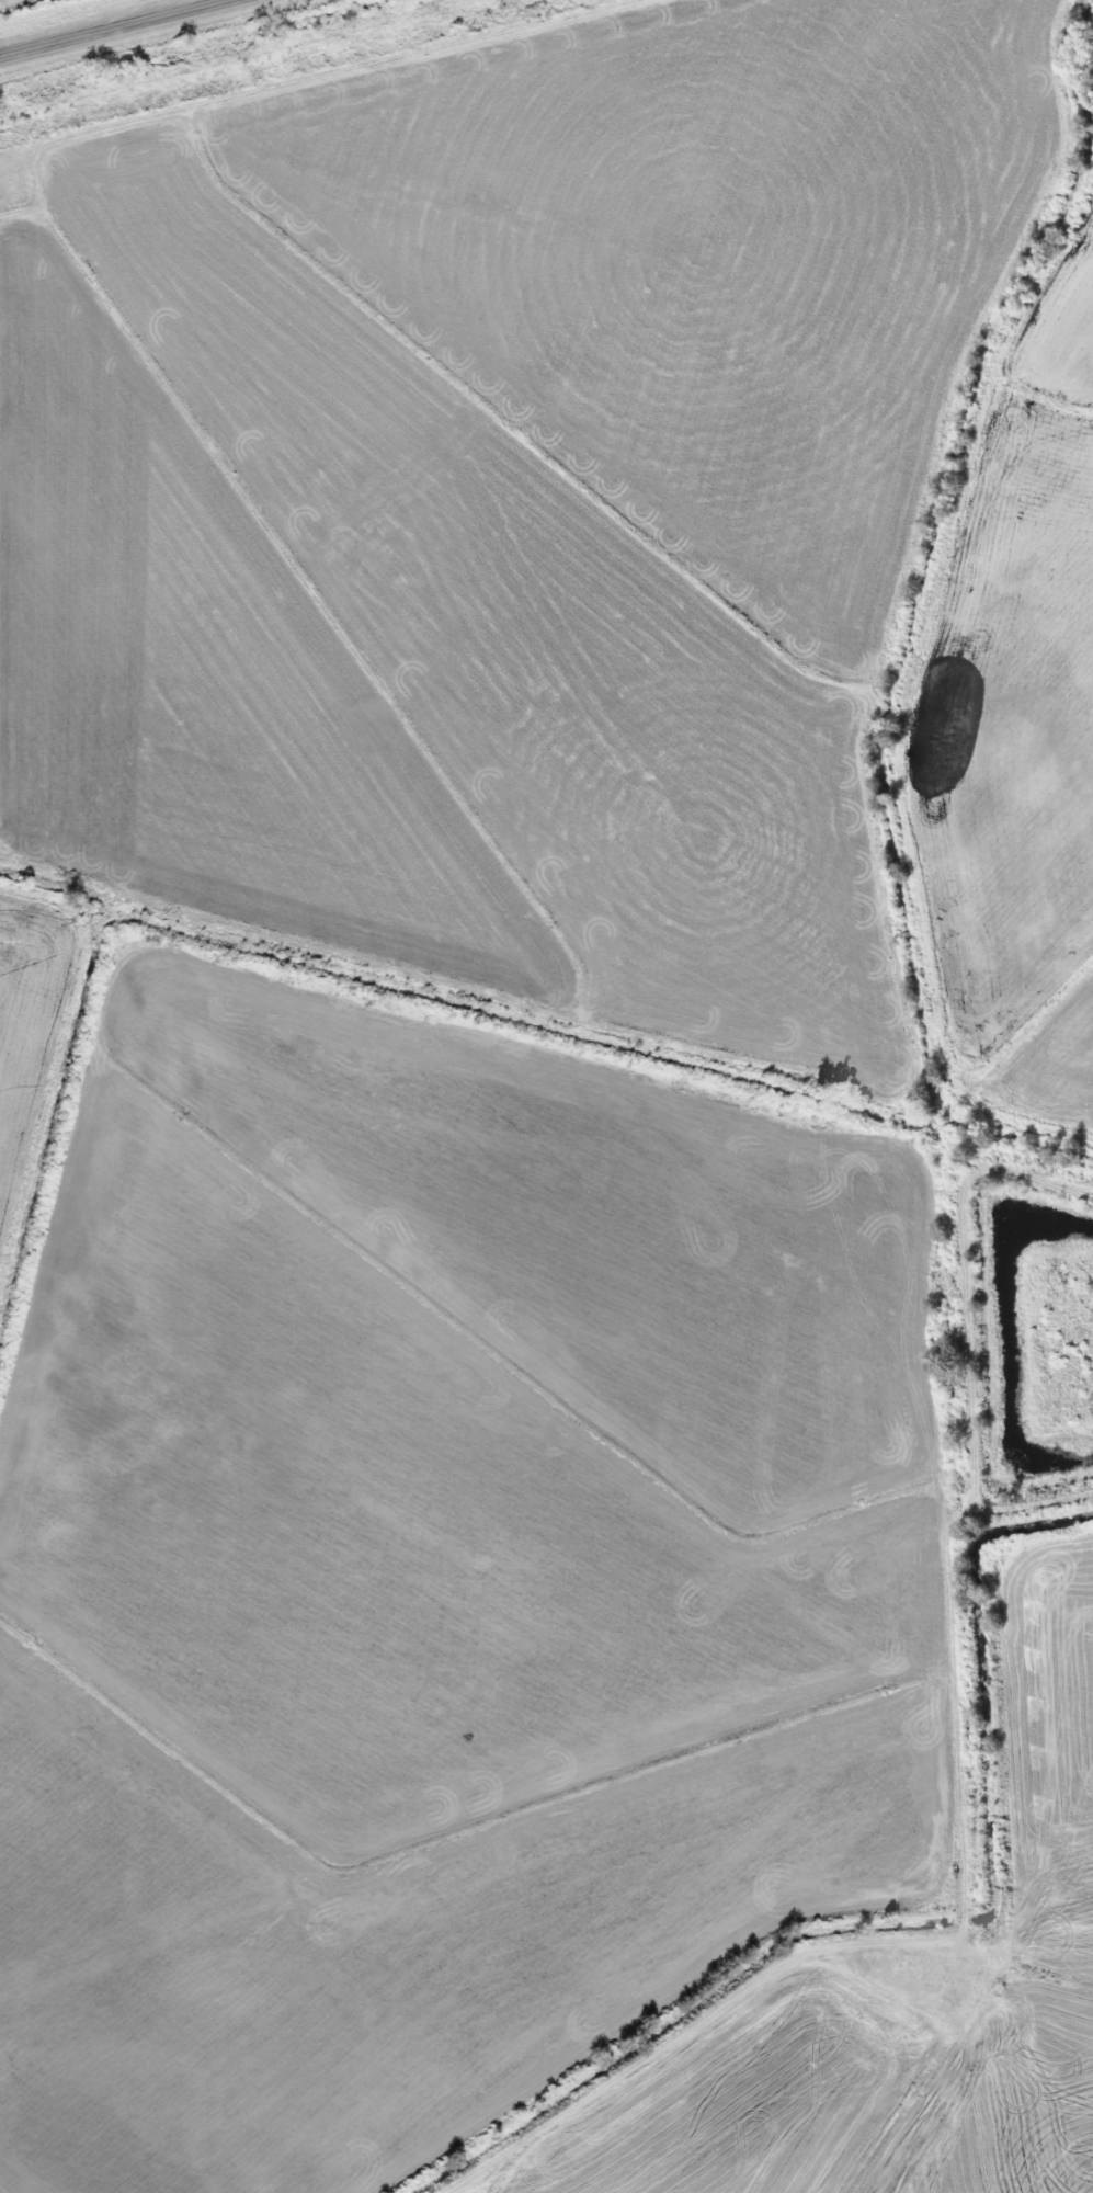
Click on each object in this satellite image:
road: (115, 27)
railway: (237, 57)
road: (691, 2024)

